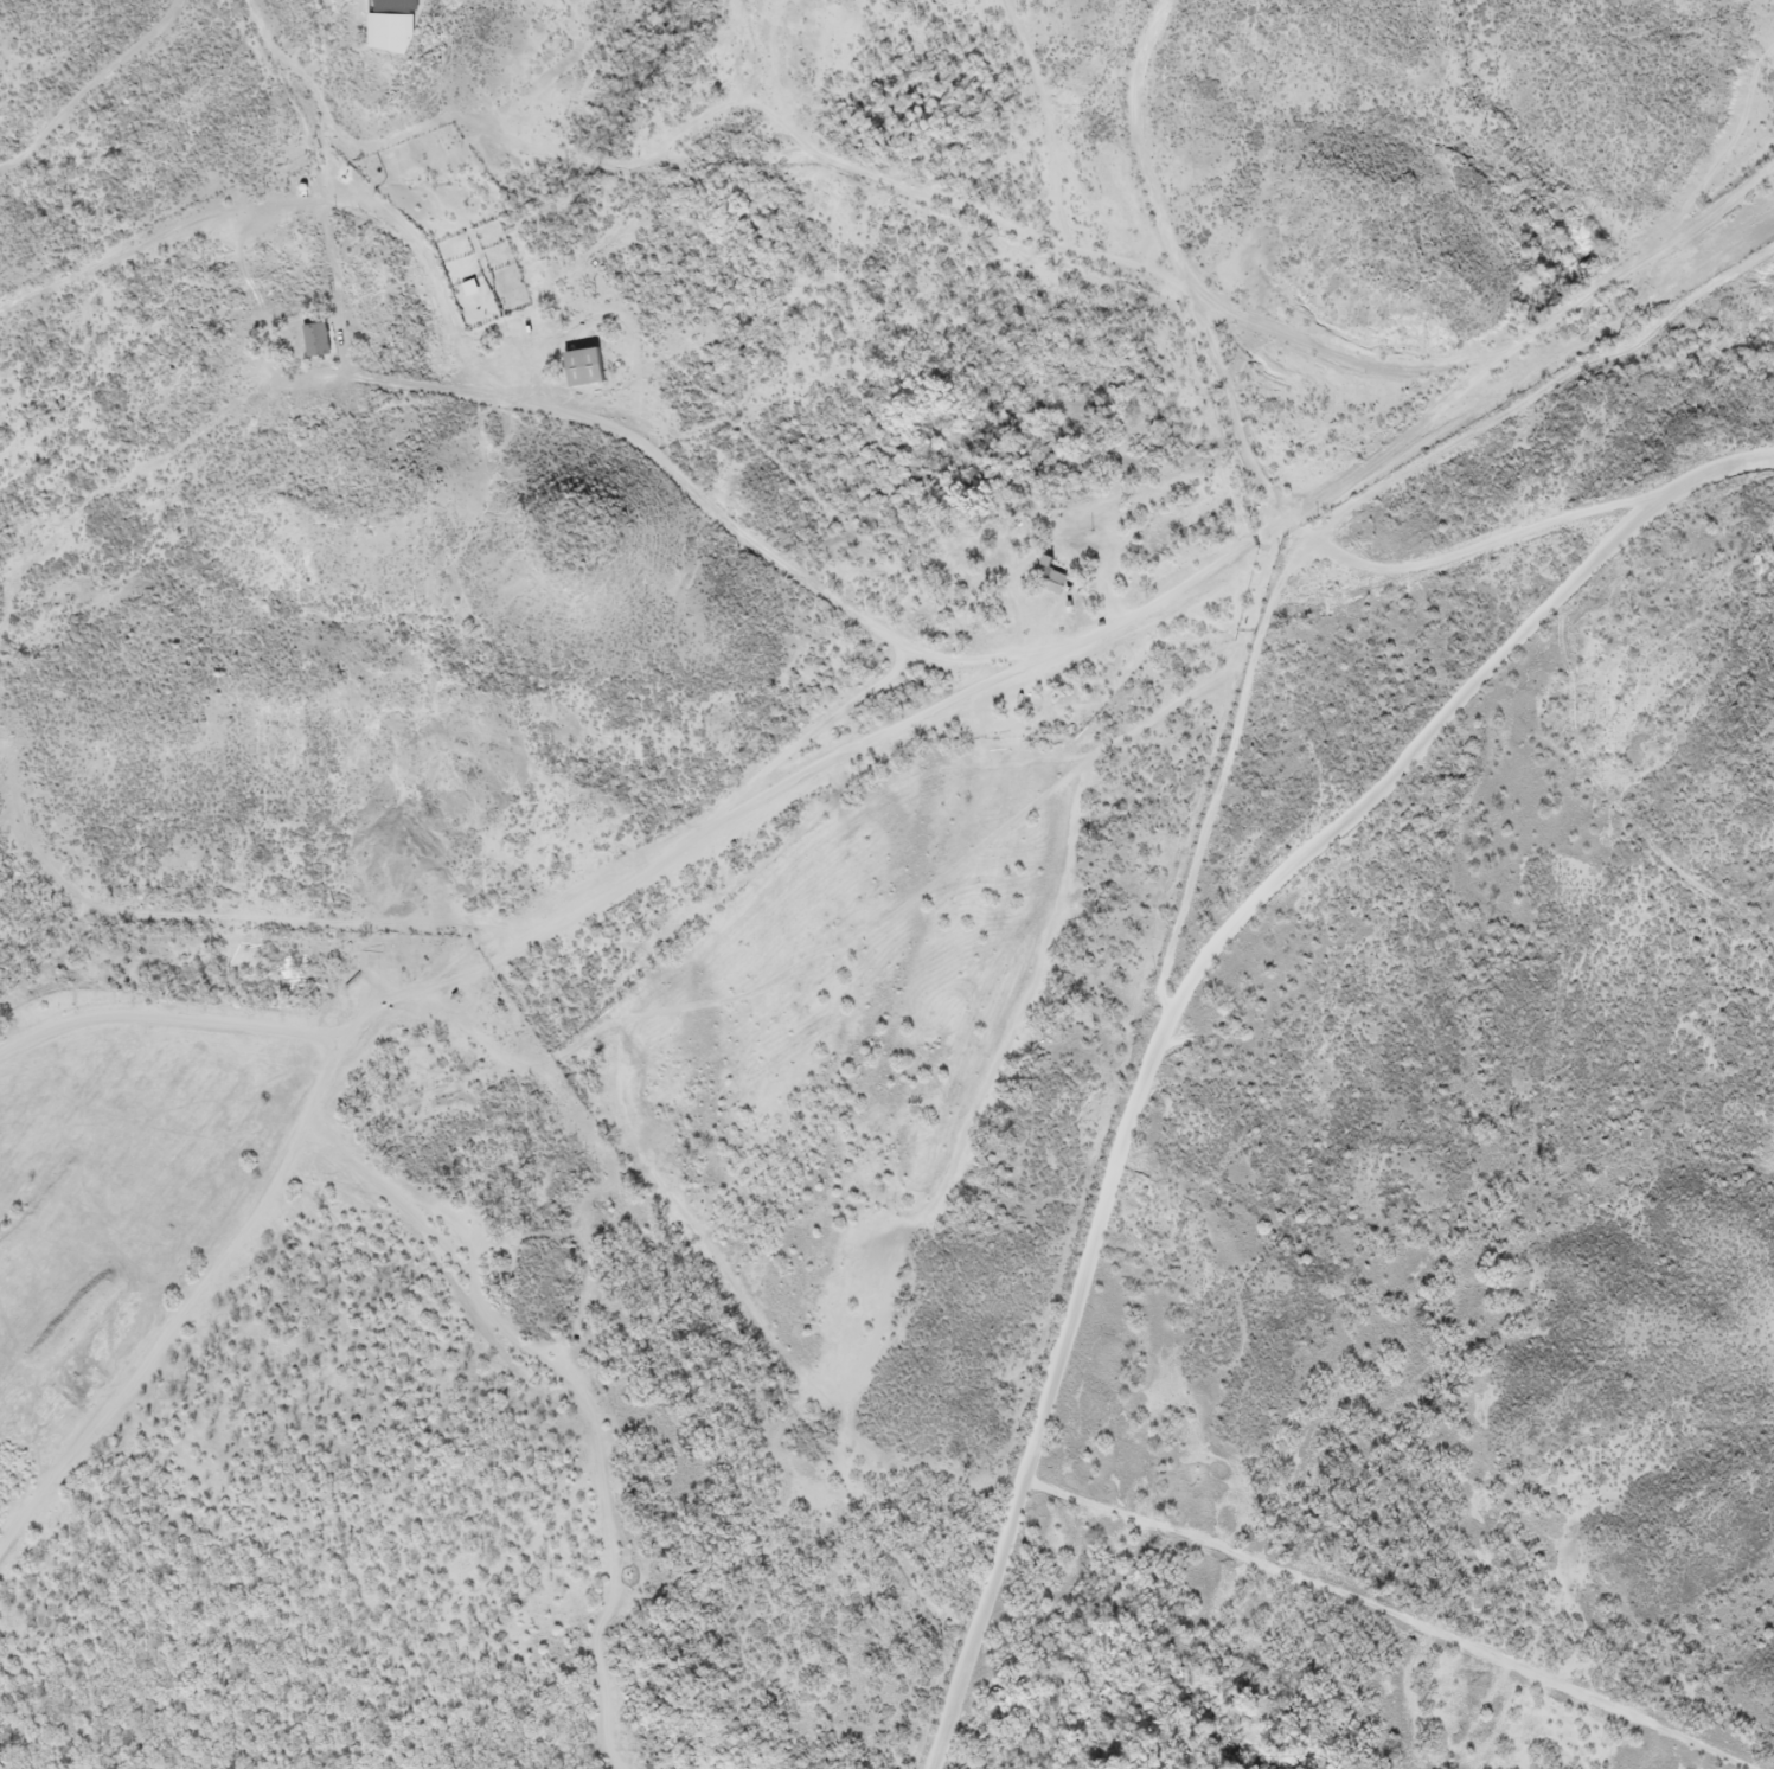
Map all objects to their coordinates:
road: (97, 92)
building: (584, 364)
road: (1247, 457)
building: (1052, 577)
road: (827, 754)
road: (638, 1185)

